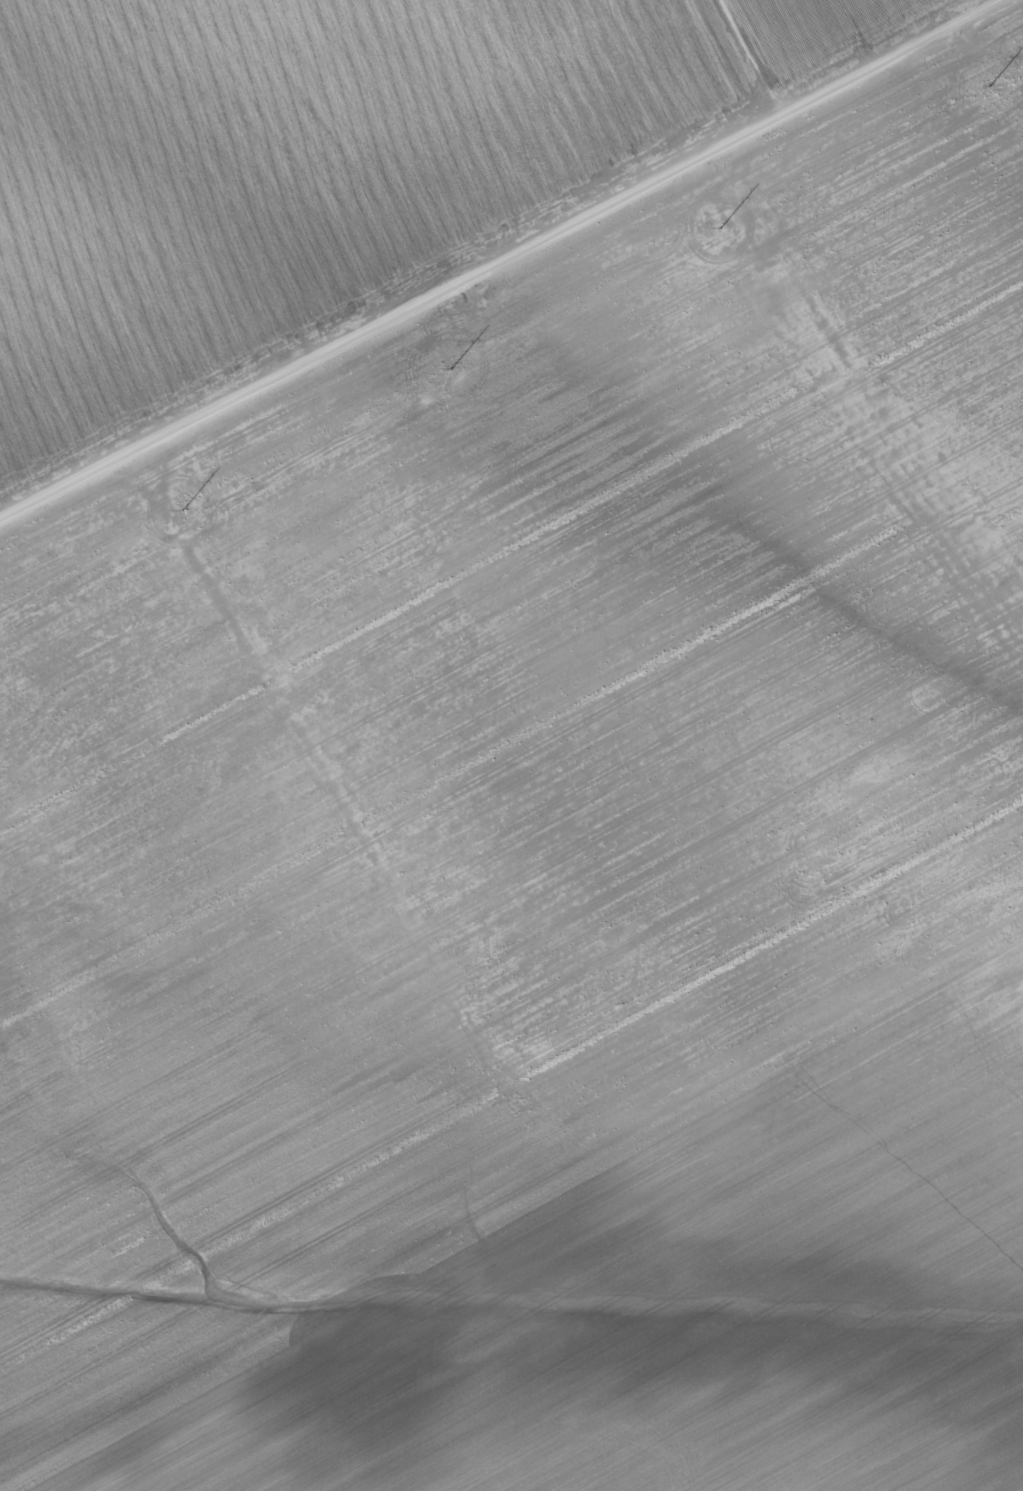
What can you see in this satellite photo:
road: (507, 260)
power tower: (776, 277)
power tower: (509, 425)
power tower: (243, 570)

